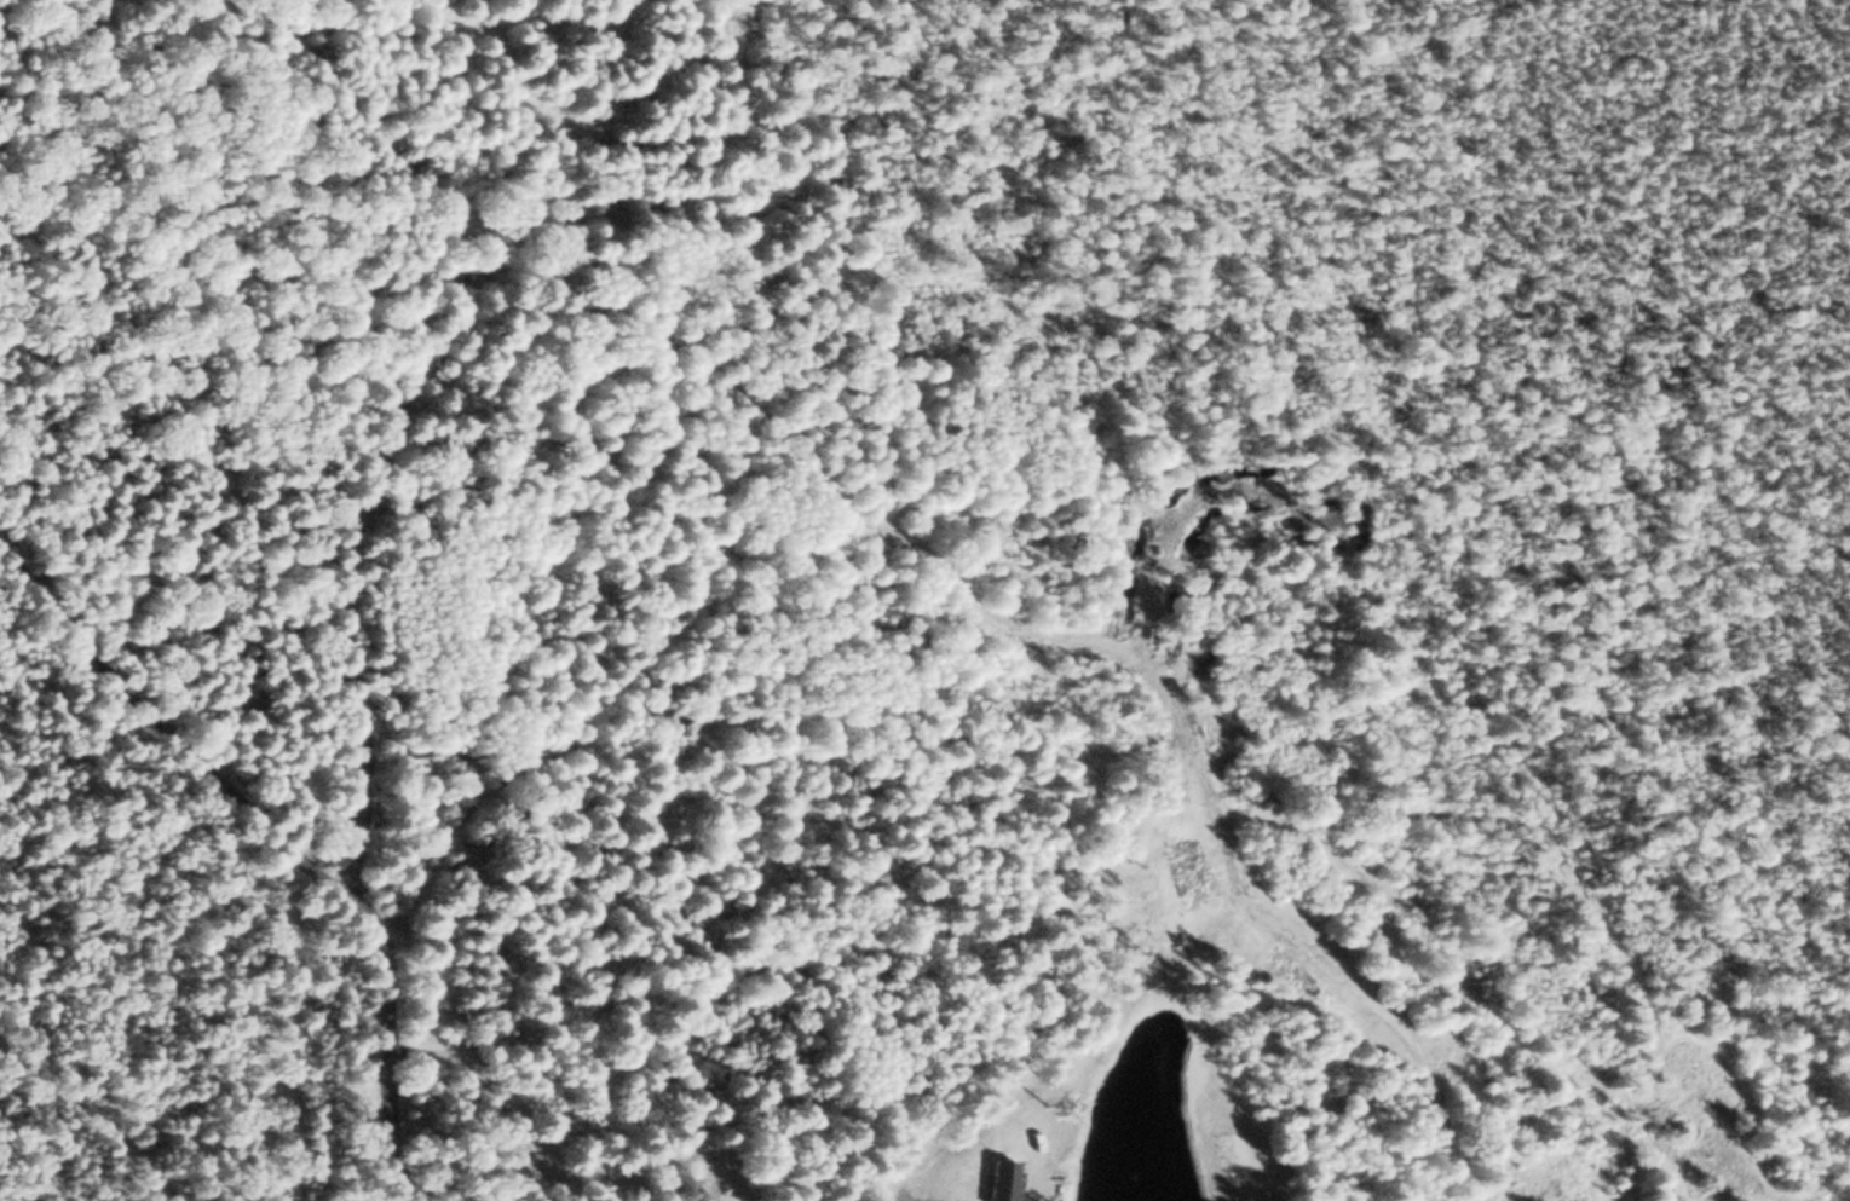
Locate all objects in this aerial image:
road: (388, 939)
road: (88, 1126)

